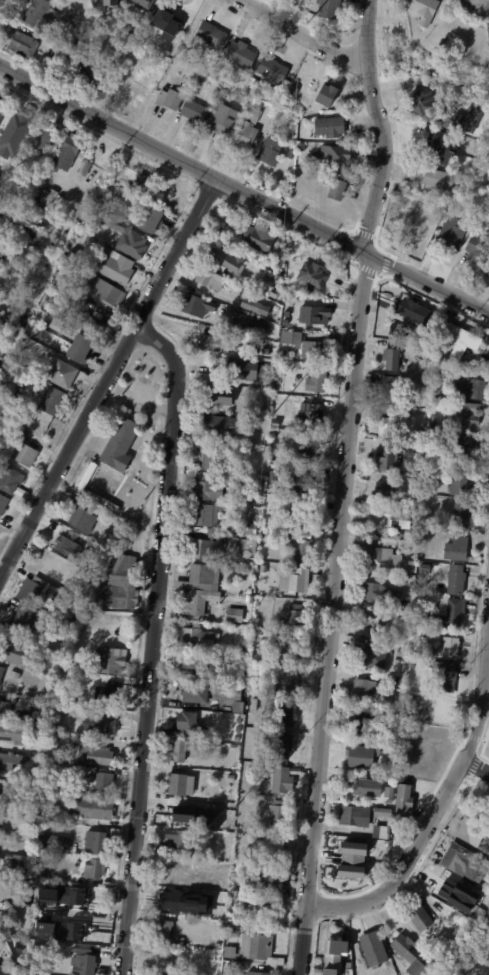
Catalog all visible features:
building: (110, 1)
building: (143, 3)
building: (331, 8)
building: (427, 11)
building: (40, 13)
building: (165, 23)
building: (13, 31)
road: (303, 32)
building: (214, 36)
building: (24, 45)
building: (98, 52)
building: (243, 55)
building: (64, 59)
building: (90, 70)
building: (275, 70)
building: (186, 85)
building: (119, 88)
building: (292, 90)
building: (329, 96)
building: (239, 98)
building: (171, 100)
building: (257, 104)
building: (2, 108)
building: (431, 108)
building: (197, 113)
building: (468, 121)
building: (223, 123)
road: (381, 125)
building: (331, 126)
building: (13, 134)
building: (46, 137)
building: (248, 137)
building: (436, 145)
building: (302, 147)
building: (68, 153)
building: (273, 153)
building: (292, 155)
building: (335, 159)
building: (7, 160)
building: (121, 162)
building: (42, 166)
building: (86, 168)
building: (440, 180)
building: (150, 188)
road: (243, 190)
building: (338, 191)
building: (44, 198)
building: (98, 202)
building: (87, 206)
building: (32, 218)
building: (152, 219)
building: (8, 226)
building: (124, 233)
building: (454, 233)
building: (262, 237)
building: (36, 240)
building: (479, 251)
building: (76, 252)
building: (229, 261)
building: (117, 266)
building: (488, 268)
building: (315, 275)
building: (212, 279)
building: (68, 284)
building: (265, 288)
building: (107, 293)
building: (272, 293)
building: (249, 303)
building: (199, 306)
building: (265, 310)
building: (417, 311)
building: (316, 314)
building: (91, 320)
building: (244, 322)
building: (286, 322)
building: (44, 326)
building: (400, 330)
building: (8, 333)
building: (434, 336)
building: (298, 338)
building: (464, 341)
building: (212, 343)
building: (323, 346)
building: (83, 348)
building: (393, 358)
building: (275, 363)
building: (244, 368)
building: (64, 374)
road: (108, 375)
building: (299, 378)
building: (319, 380)
building: (472, 386)
building: (389, 387)
building: (18, 393)
building: (426, 393)
building: (222, 396)
building: (53, 400)
building: (428, 401)
building: (211, 408)
building: (279, 413)
building: (313, 414)
power tower: (271, 415)
building: (466, 415)
building: (277, 422)
building: (435, 422)
building: (221, 425)
building: (390, 426)
building: (120, 443)
building: (467, 446)
building: (312, 449)
building: (26, 454)
building: (374, 456)
building: (208, 458)
building: (389, 458)
building: (433, 470)
building: (86, 478)
building: (12, 480)
building: (432, 482)
building: (308, 483)
building: (463, 483)
building: (260, 488)
building: (211, 489)
building: (385, 489)
building: (103, 501)
building: (3, 503)
building: (236, 509)
building: (463, 512)
building: (208, 514)
building: (306, 514)
building: (267, 516)
building: (258, 518)
building: (401, 519)
building: (84, 520)
building: (227, 523)
building: (266, 524)
building: (249, 528)
building: (287, 534)
building: (85, 539)
building: (70, 544)
building: (115, 545)
building: (250, 546)
building: (208, 547)
building: (302, 549)
building: (413, 549)
building: (459, 549)
building: (391, 559)
building: (254, 561)
building: (265, 568)
building: (205, 577)
building: (459, 579)
building: (297, 580)
building: (121, 585)
building: (250, 591)
building: (39, 593)
building: (382, 594)
building: (200, 601)
building: (83, 607)
power tower: (253, 608)
building: (79, 612)
road: (333, 614)
building: (452, 614)
building: (236, 615)
building: (298, 617)
building: (24, 620)
building: (250, 621)
building: (74, 624)
building: (373, 629)
building: (199, 638)
road: (153, 641)
building: (439, 643)
building: (403, 644)
building: (287, 646)
building: (452, 648)
building: (294, 649)
building: (13, 652)
building: (402, 653)
building: (376, 658)
building: (112, 661)
building: (34, 666)
building: (194, 667)
building: (245, 670)
building: (3, 673)
building: (16, 675)
building: (447, 676)
building: (290, 684)
building: (366, 689)
building: (110, 692)
building: (233, 692)
building: (194, 693)
building: (241, 707)
road: (486, 707)
building: (2, 708)
building: (441, 713)
building: (289, 715)
building: (6, 717)
building: (240, 720)
building: (102, 721)
building: (364, 721)
building: (190, 722)
building: (45, 729)
building: (240, 729)
building: (14, 734)
building: (238, 739)
building: (53, 741)
building: (181, 751)
building: (285, 752)
building: (395, 754)
building: (97, 755)
building: (364, 756)
building: (10, 761)
road: (477, 765)
building: (390, 779)
building: (283, 781)
building: (105, 783)
building: (179, 785)
building: (369, 787)
building: (391, 793)
power tower: (235, 799)
building: (405, 799)
building: (50, 803)
road: (438, 805)
building: (93, 808)
building: (484, 808)
building: (384, 813)
building: (279, 814)
building: (352, 816)
building: (182, 817)
building: (0, 818)
building: (213, 818)
building: (474, 832)
building: (242, 834)
building: (182, 839)
building: (61, 843)
building: (98, 843)
building: (275, 844)
building: (387, 846)
building: (350, 847)
building: (17, 861)
building: (467, 863)
building: (96, 869)
building: (244, 873)
building: (46, 876)
building: (275, 883)
building: (440, 885)
building: (182, 904)
building: (60, 907)
building: (259, 908)
building: (422, 919)
building: (35, 920)
building: (5, 921)
building: (41, 929)
building: (88, 929)
building: (165, 932)
building: (458, 933)
building: (237, 934)
building: (431, 944)
building: (261, 949)
building: (375, 949)
building: (338, 950)
building: (55, 951)
building: (231, 953)
building: (410, 956)
building: (88, 963)
building: (163, 965)
building: (2, 971)
building: (329, 971)
building: (255, 973)

